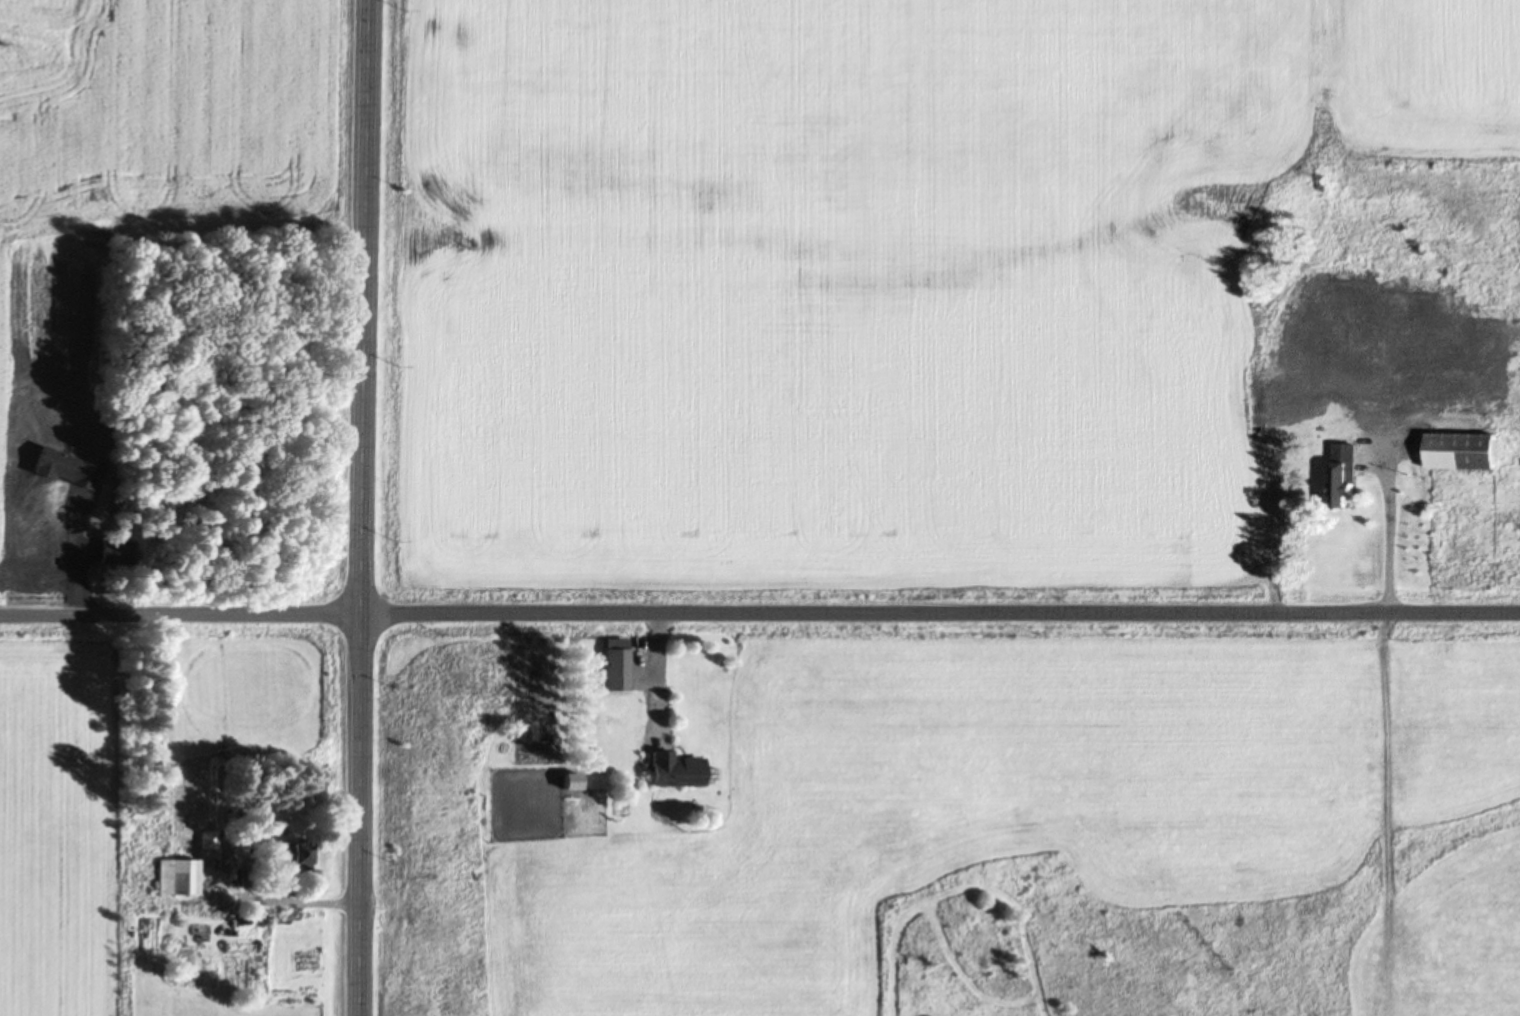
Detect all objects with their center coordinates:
building: (1405, 306)
building: (1294, 397)
building: (1460, 450)
building: (1344, 475)
road: (360, 507)
road: (759, 613)
building: (614, 661)
building: (235, 752)
building: (673, 769)
building: (207, 838)
building: (293, 853)
building: (181, 875)

